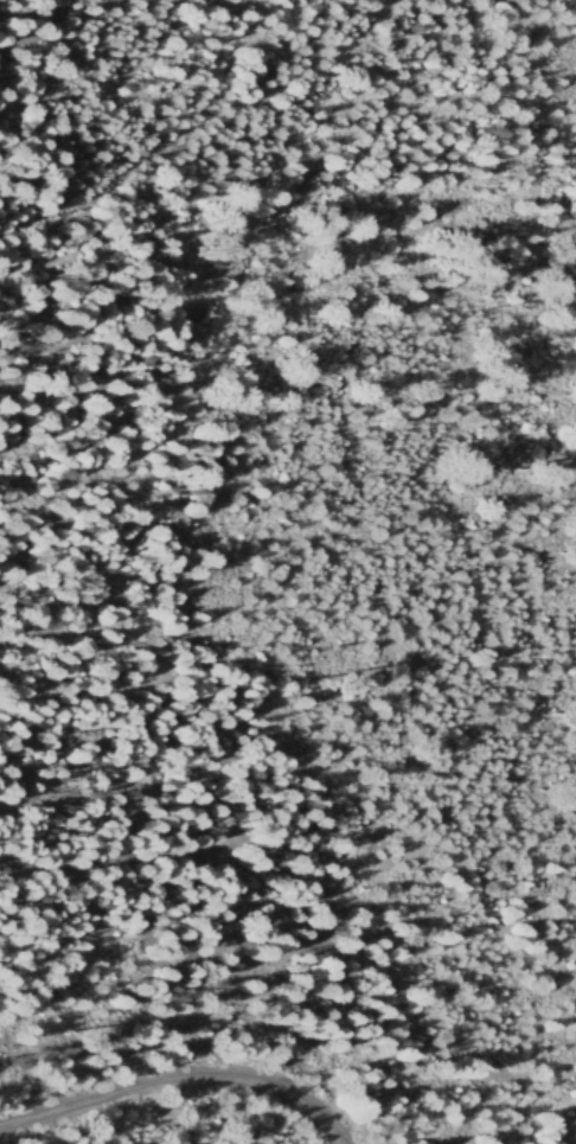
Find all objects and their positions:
road: (177, 1097)

